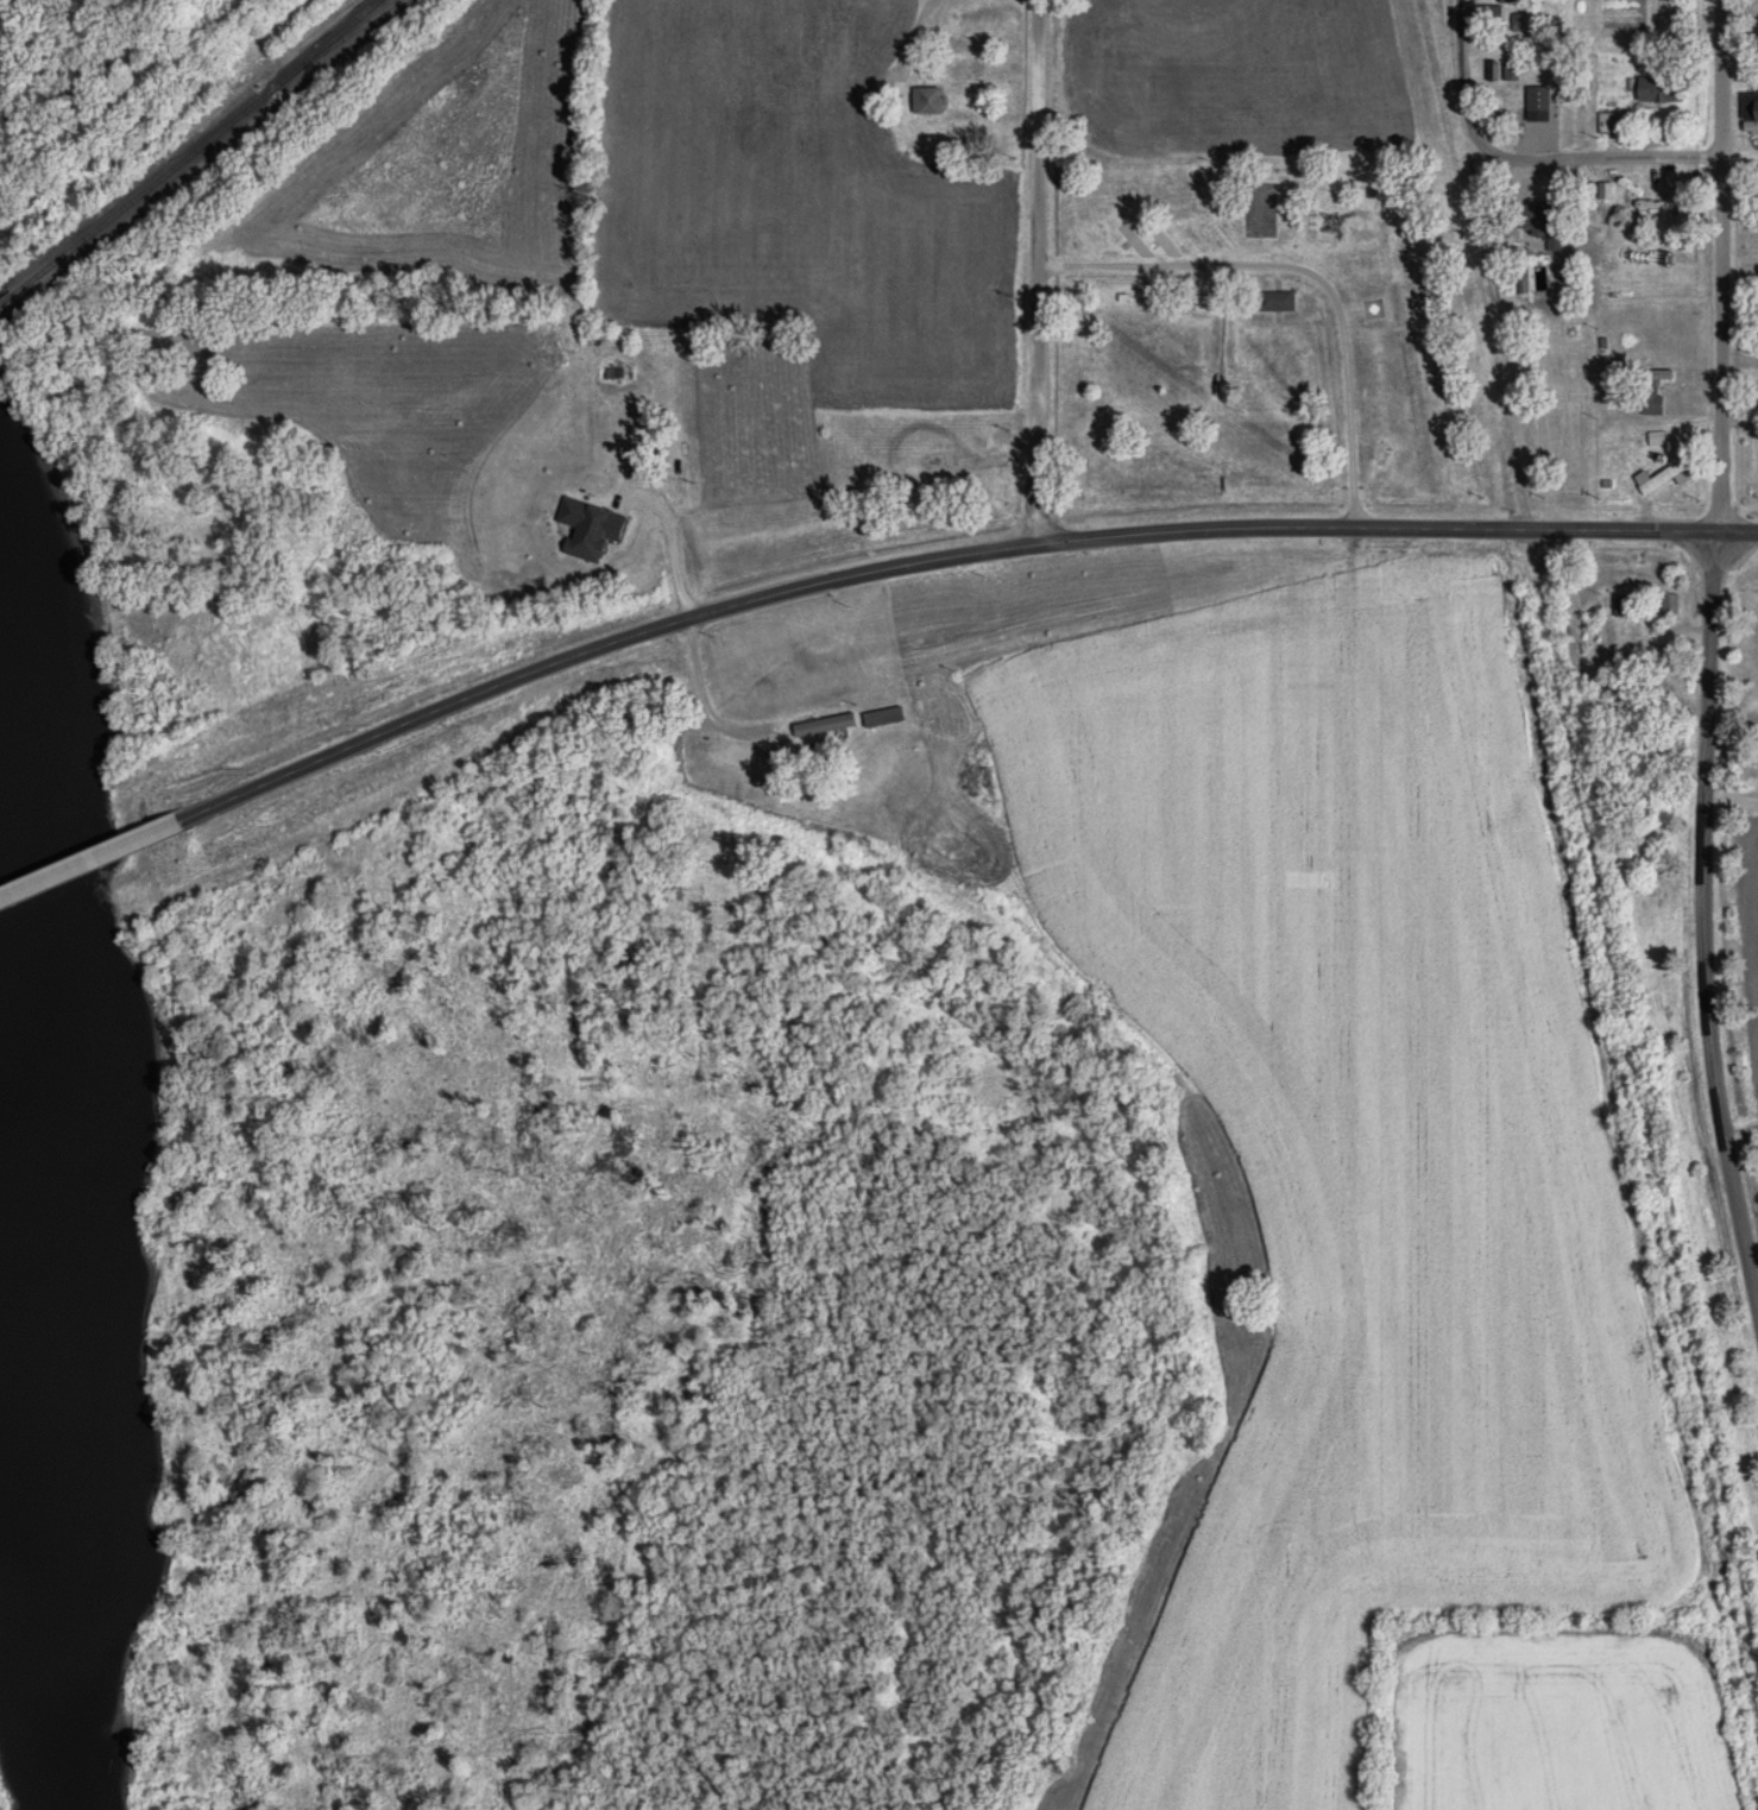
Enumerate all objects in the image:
building: (1508, 2)
building: (1525, 24)
railway: (336, 42)
building: (1511, 70)
road: (1458, 77)
building: (1658, 89)
building: (1537, 97)
building: (925, 99)
building: (1756, 107)
building: (1608, 121)
railway: (195, 150)
road: (1620, 157)
building: (1605, 189)
building: (1539, 215)
road: (1722, 265)
road: (1038, 270)
road: (1304, 273)
railway: (5, 299)
building: (1275, 301)
building: (1373, 309)
park: (1250, 340)
building: (1661, 373)
building: (1650, 398)
building: (932, 459)
building: (1662, 475)
road: (1394, 526)
building: (588, 528)
building: (1669, 604)
road: (594, 644)
building: (881, 715)
building: (1756, 743)
road: (1731, 799)
road: (89, 858)
road: (1705, 927)

